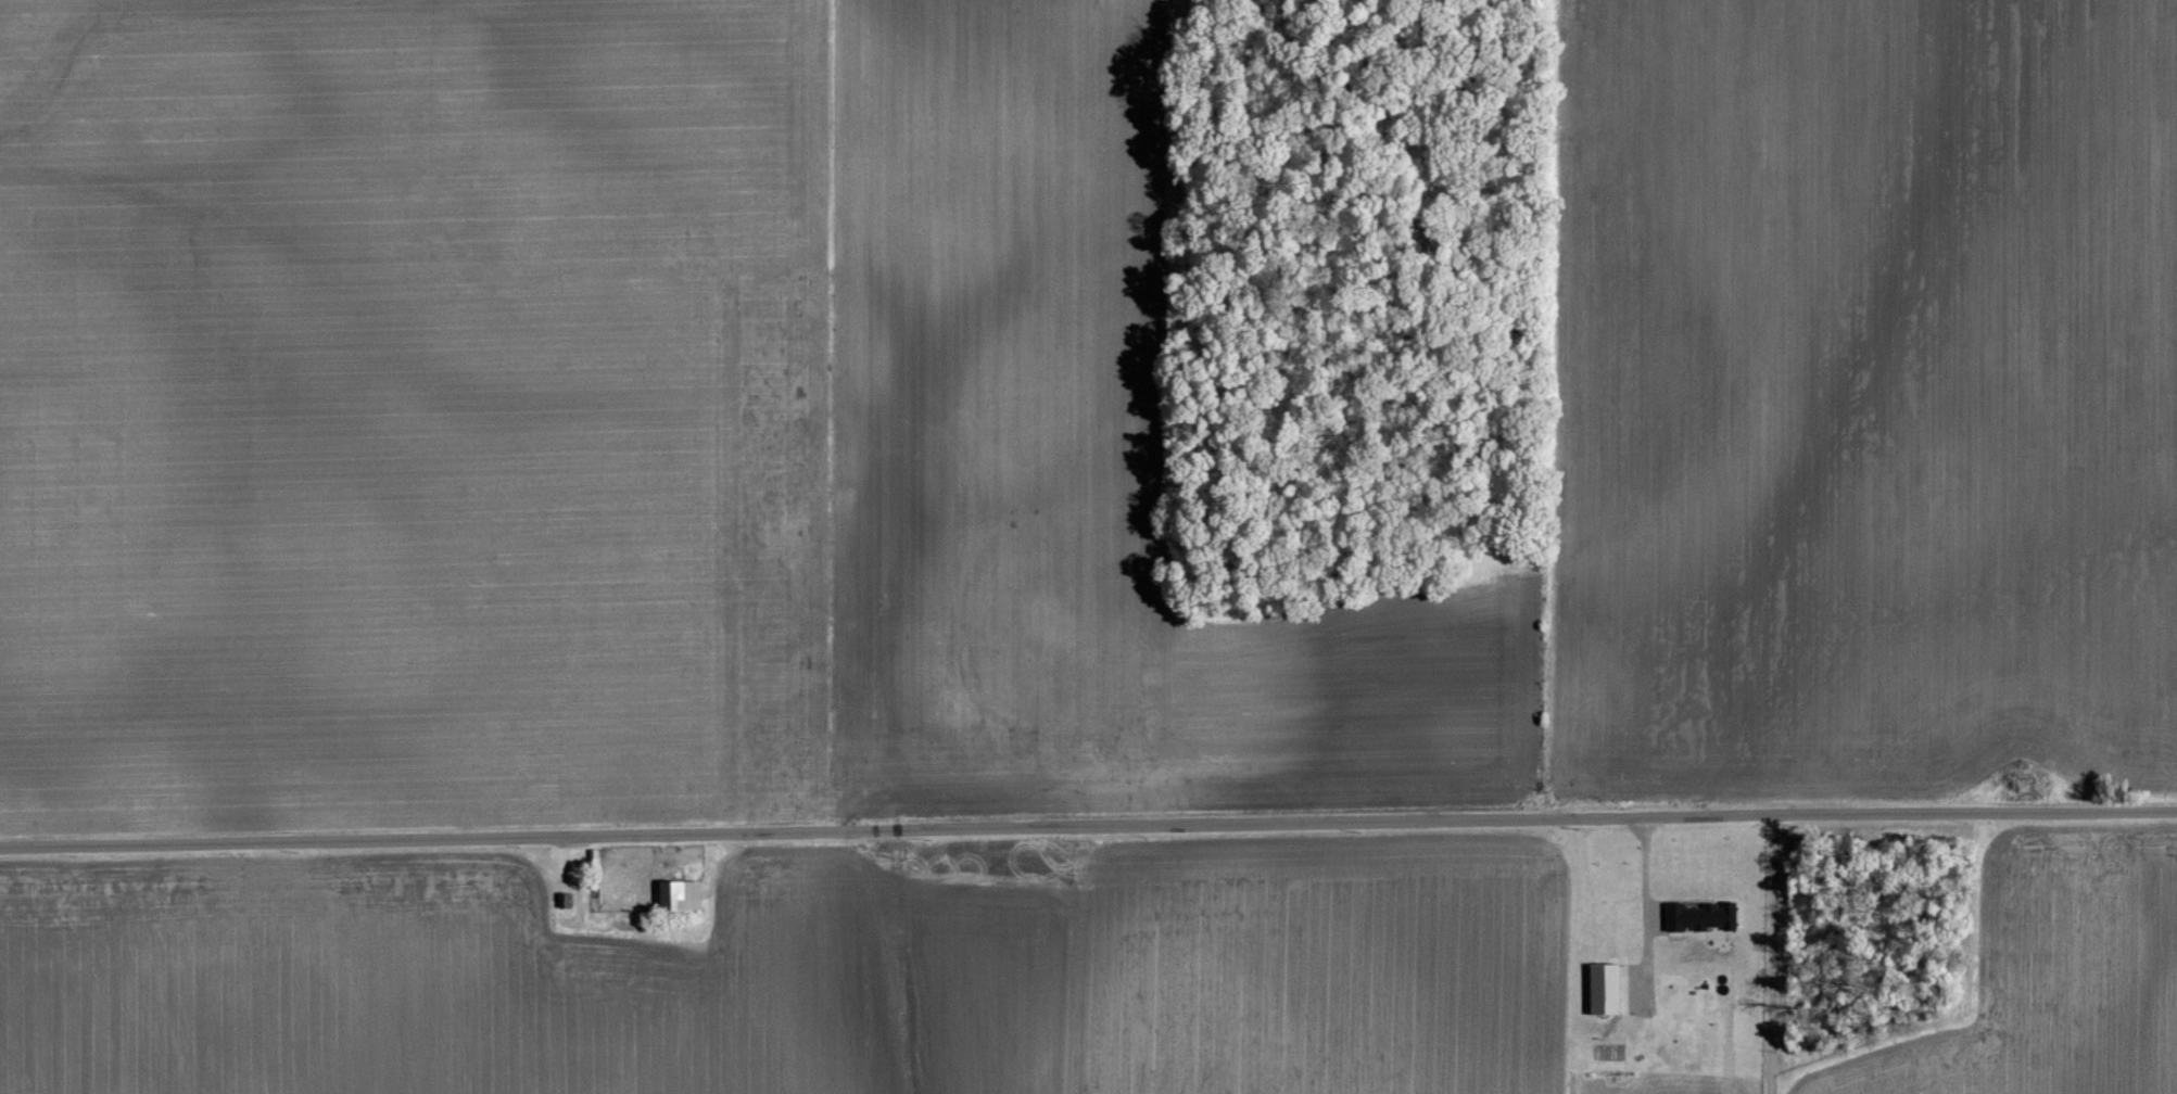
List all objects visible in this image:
crop: (1038, 420)
road: (1088, 828)
building: (682, 892)
building: (565, 900)
road: (1770, 953)
crop: (805, 971)
crop: (2039, 976)
building: (1608, 989)

